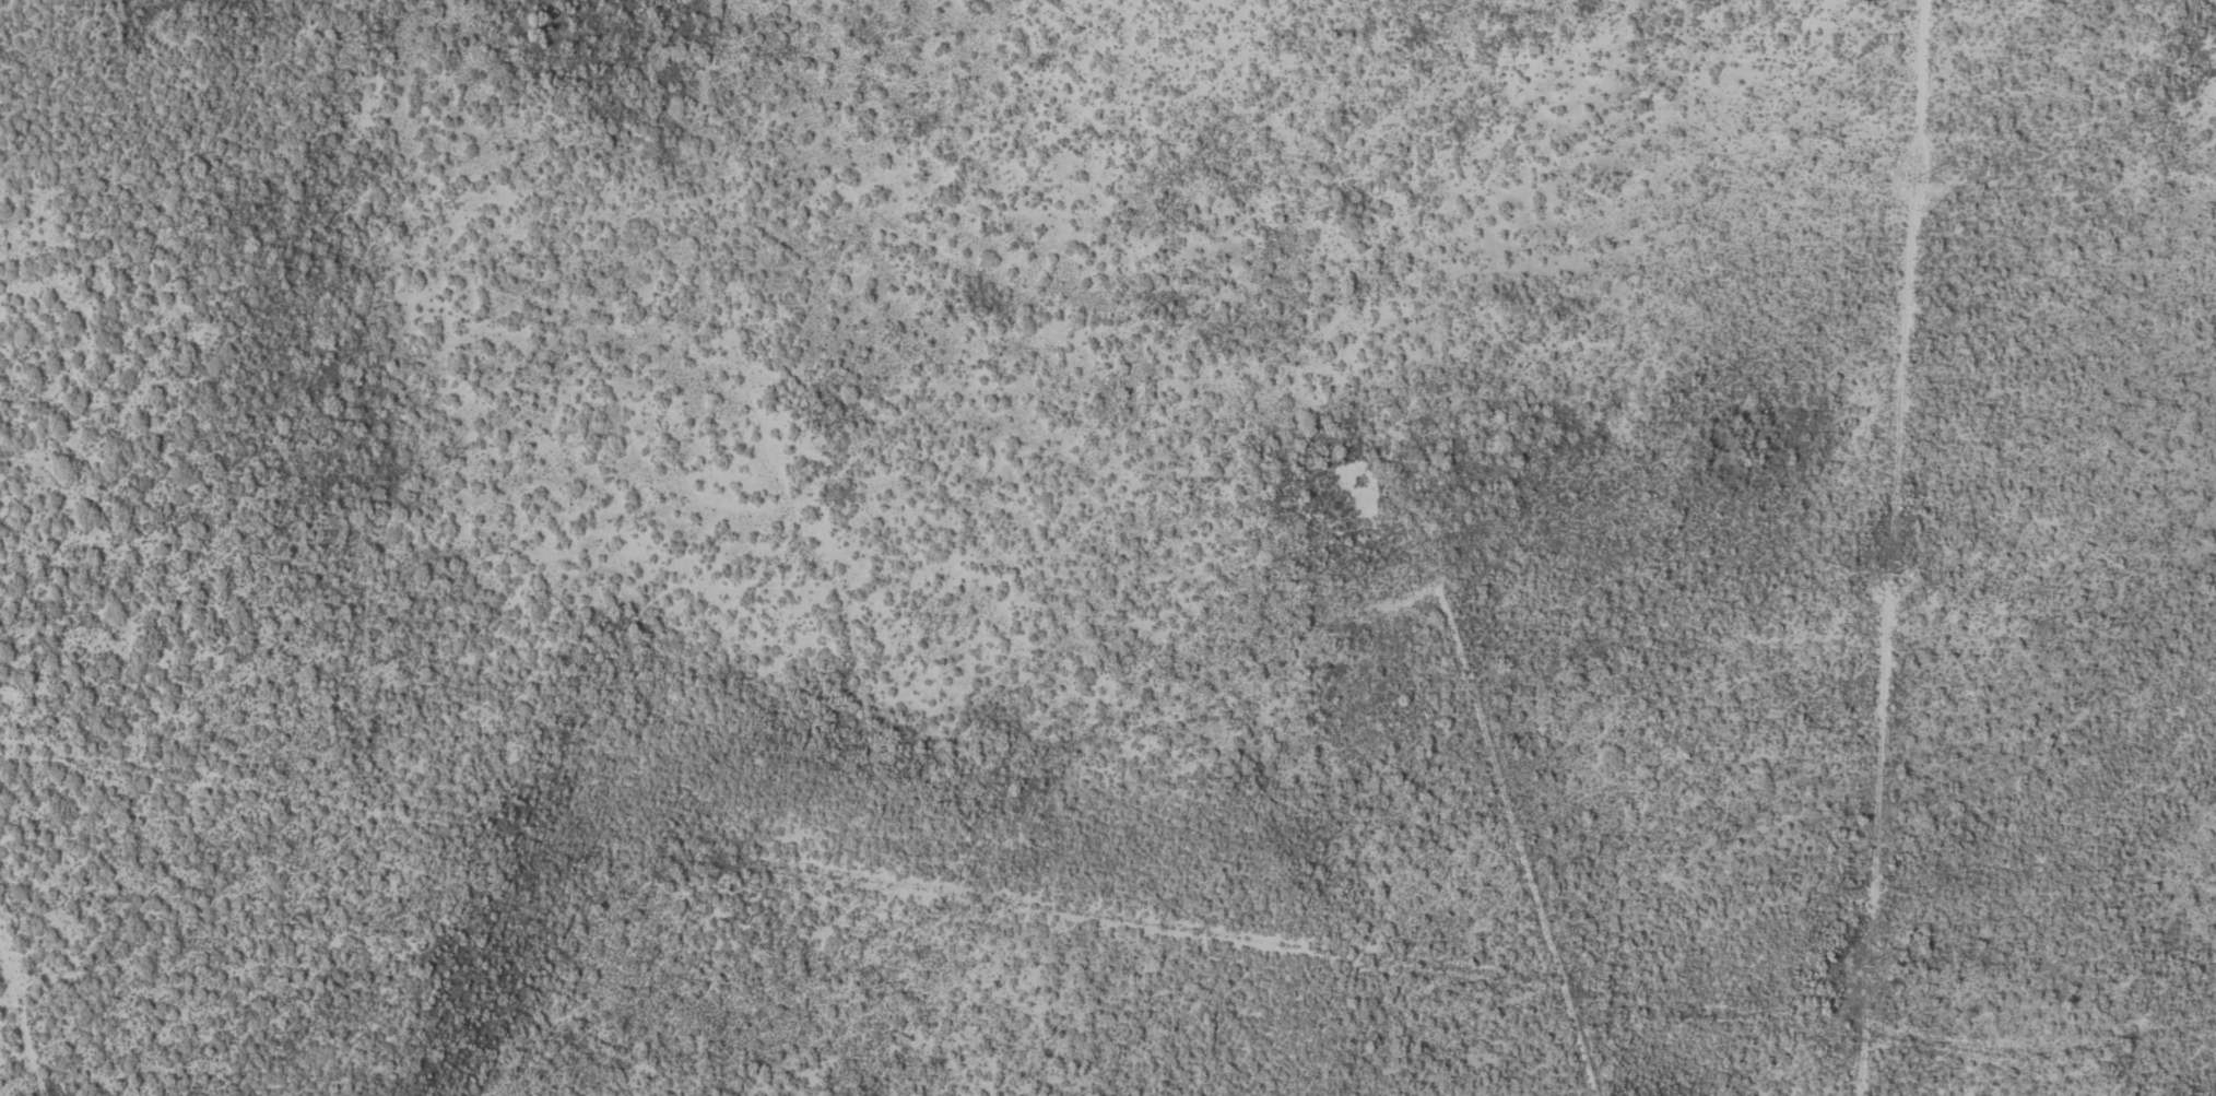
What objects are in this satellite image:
power tower: (1912, 182)
power tower: (1888, 575)
power tower: (1865, 967)

